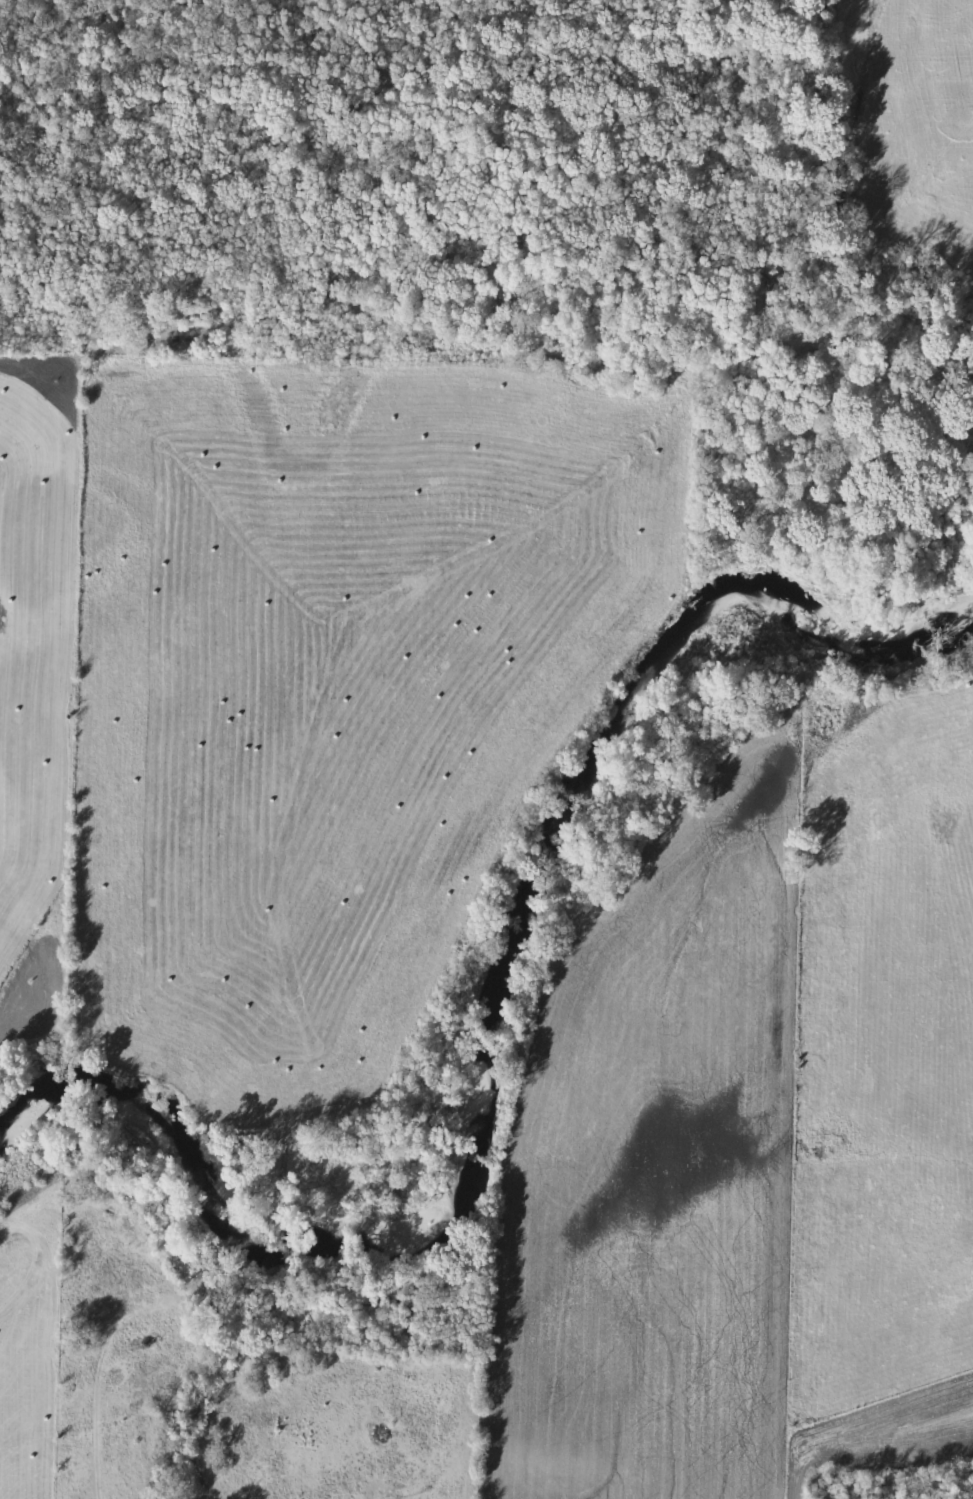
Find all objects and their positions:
river: (486, 1024)
road: (96, 1366)

